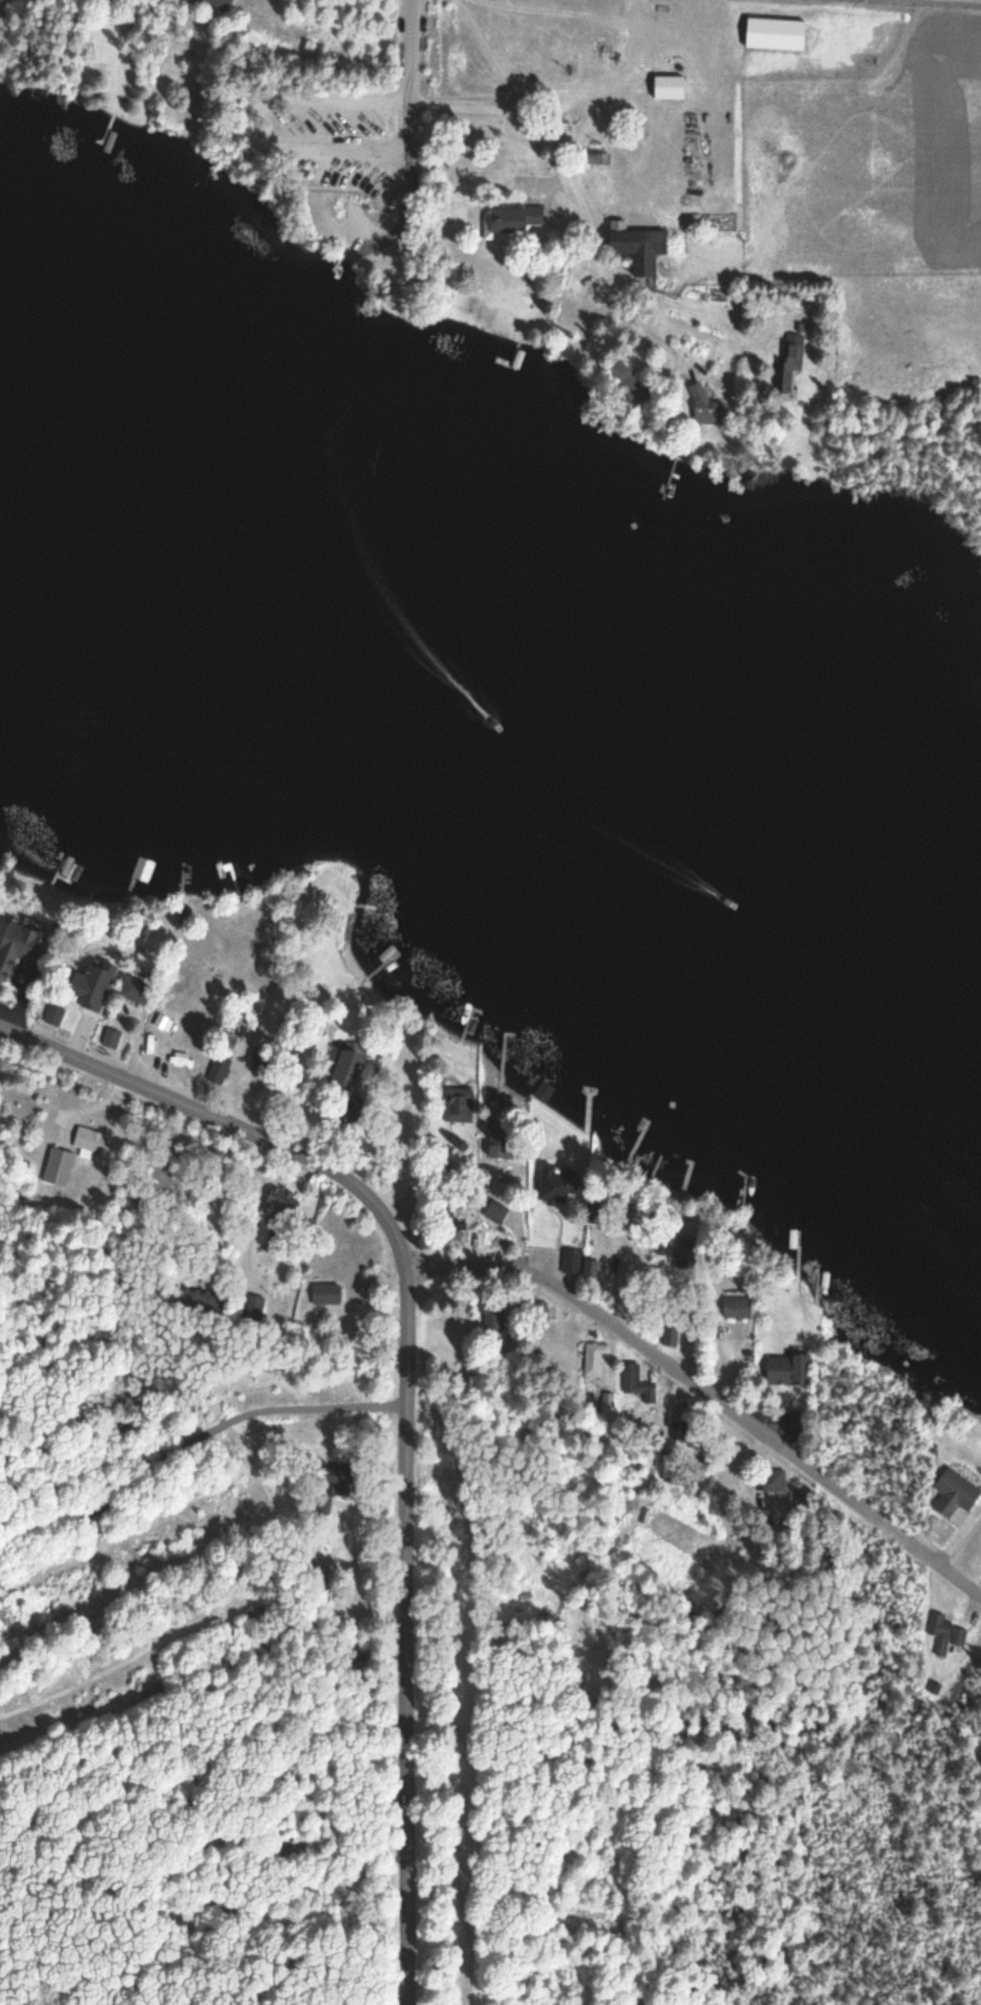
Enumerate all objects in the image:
building: (219, 4)
building: (668, 87)
road: (408, 155)
building: (595, 157)
road: (583, 212)
building: (514, 220)
building: (638, 248)
building: (787, 368)
building: (628, 383)
building: (706, 409)
building: (21, 947)
building: (105, 977)
building: (133, 988)
building: (54, 1016)
building: (346, 1068)
building: (219, 1070)
building: (590, 1091)
building: (544, 1092)
building: (459, 1105)
building: (354, 1110)
building: (92, 1141)
building: (501, 1143)
building: (58, 1167)
building: (552, 1199)
building: (279, 1203)
building: (496, 1213)
building: (597, 1213)
building: (449, 1229)
building: (686, 1255)
building: (572, 1262)
building: (591, 1269)
building: (325, 1294)
building: (200, 1307)
building: (253, 1307)
building: (737, 1308)
building: (492, 1314)
building: (670, 1336)
building: (594, 1358)
building: (788, 1370)
building: (636, 1384)
road: (707, 1393)
road: (406, 1394)
building: (607, 1409)
building: (679, 1412)
building: (794, 1420)
building: (336, 1479)
building: (772, 1482)
building: (955, 1494)
building: (322, 1506)
building: (330, 1587)
building: (940, 1632)
building: (958, 1636)
building: (354, 1651)

